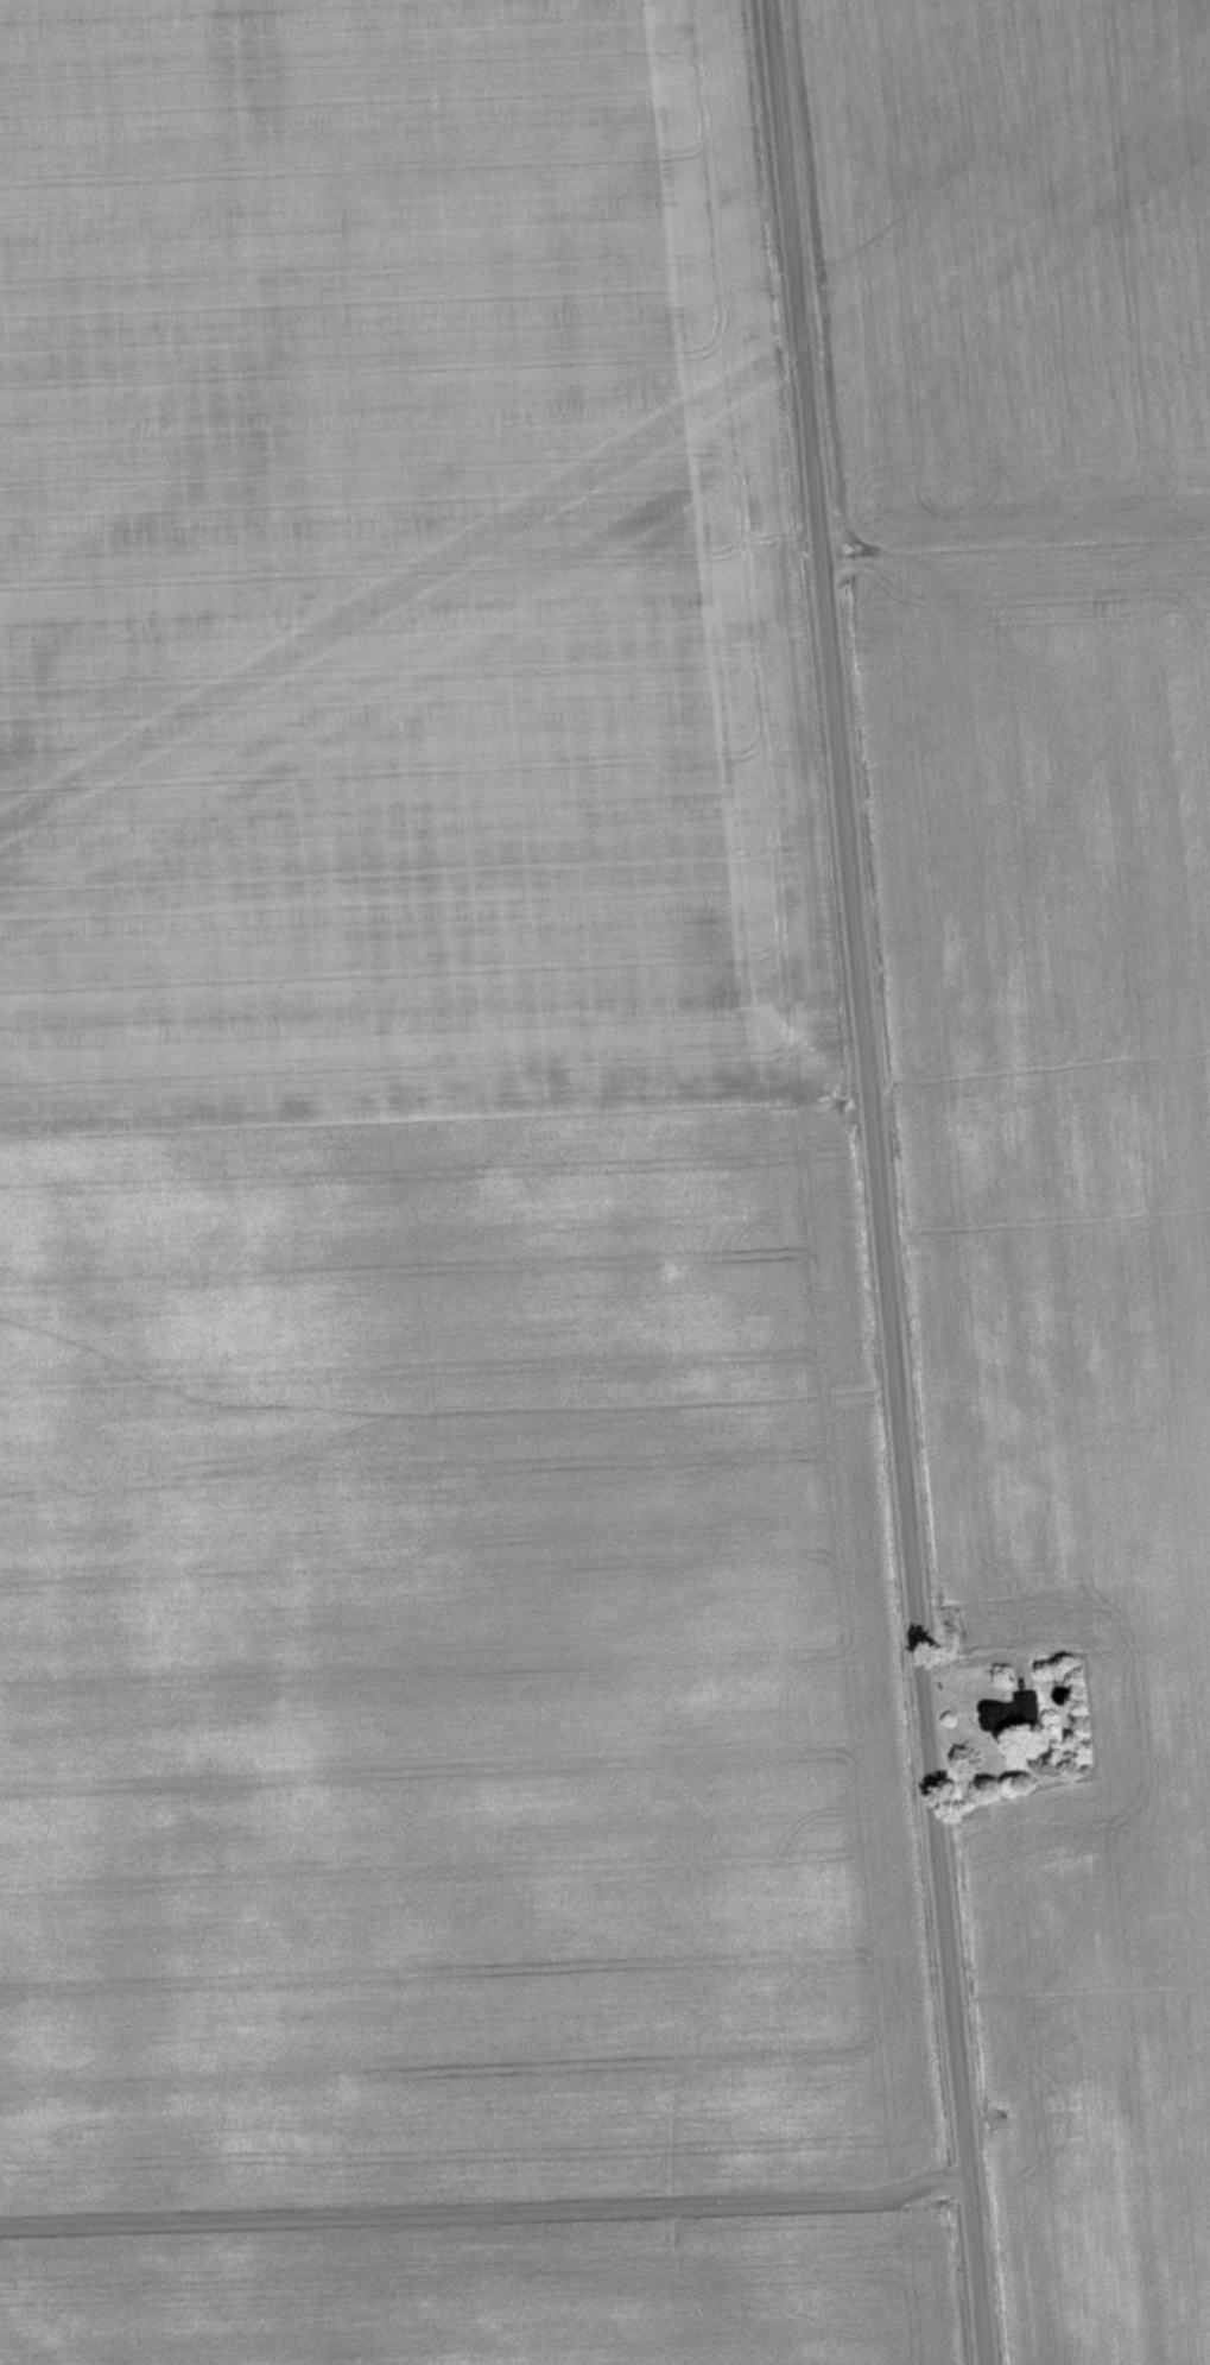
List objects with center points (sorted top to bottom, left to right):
road: (870, 1182)
building: (1020, 1716)

